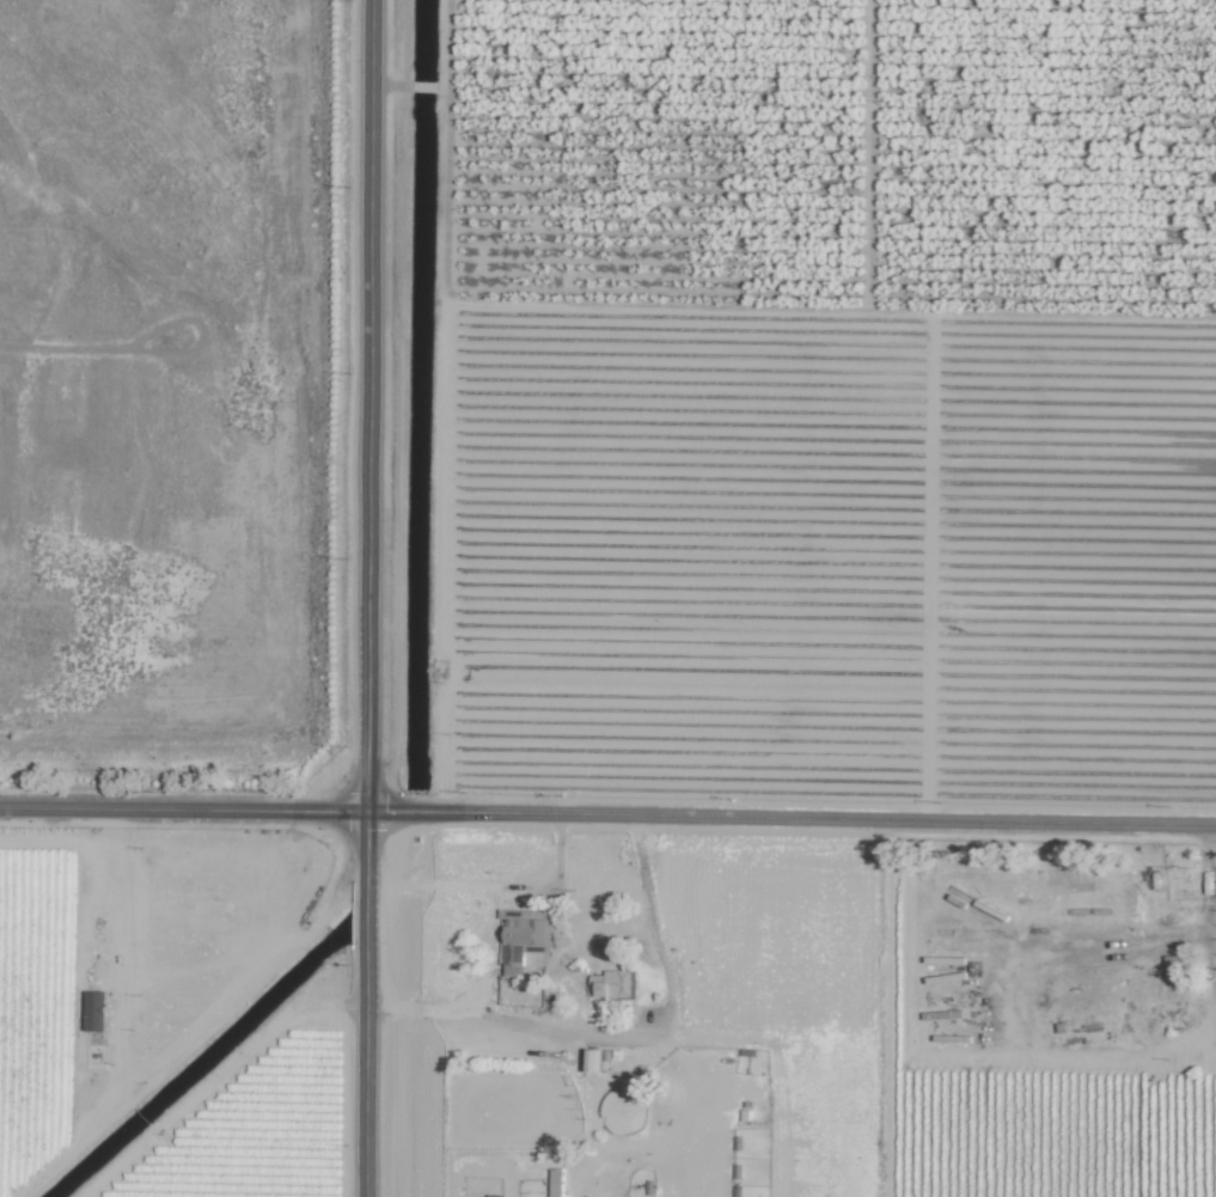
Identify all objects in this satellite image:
road: (369, 405)
road: (607, 813)
road: (497, 886)
building: (525, 936)
building: (615, 984)
road: (366, 1003)
building: (94, 1010)
road: (619, 1037)
building: (592, 1059)
building: (556, 1183)

